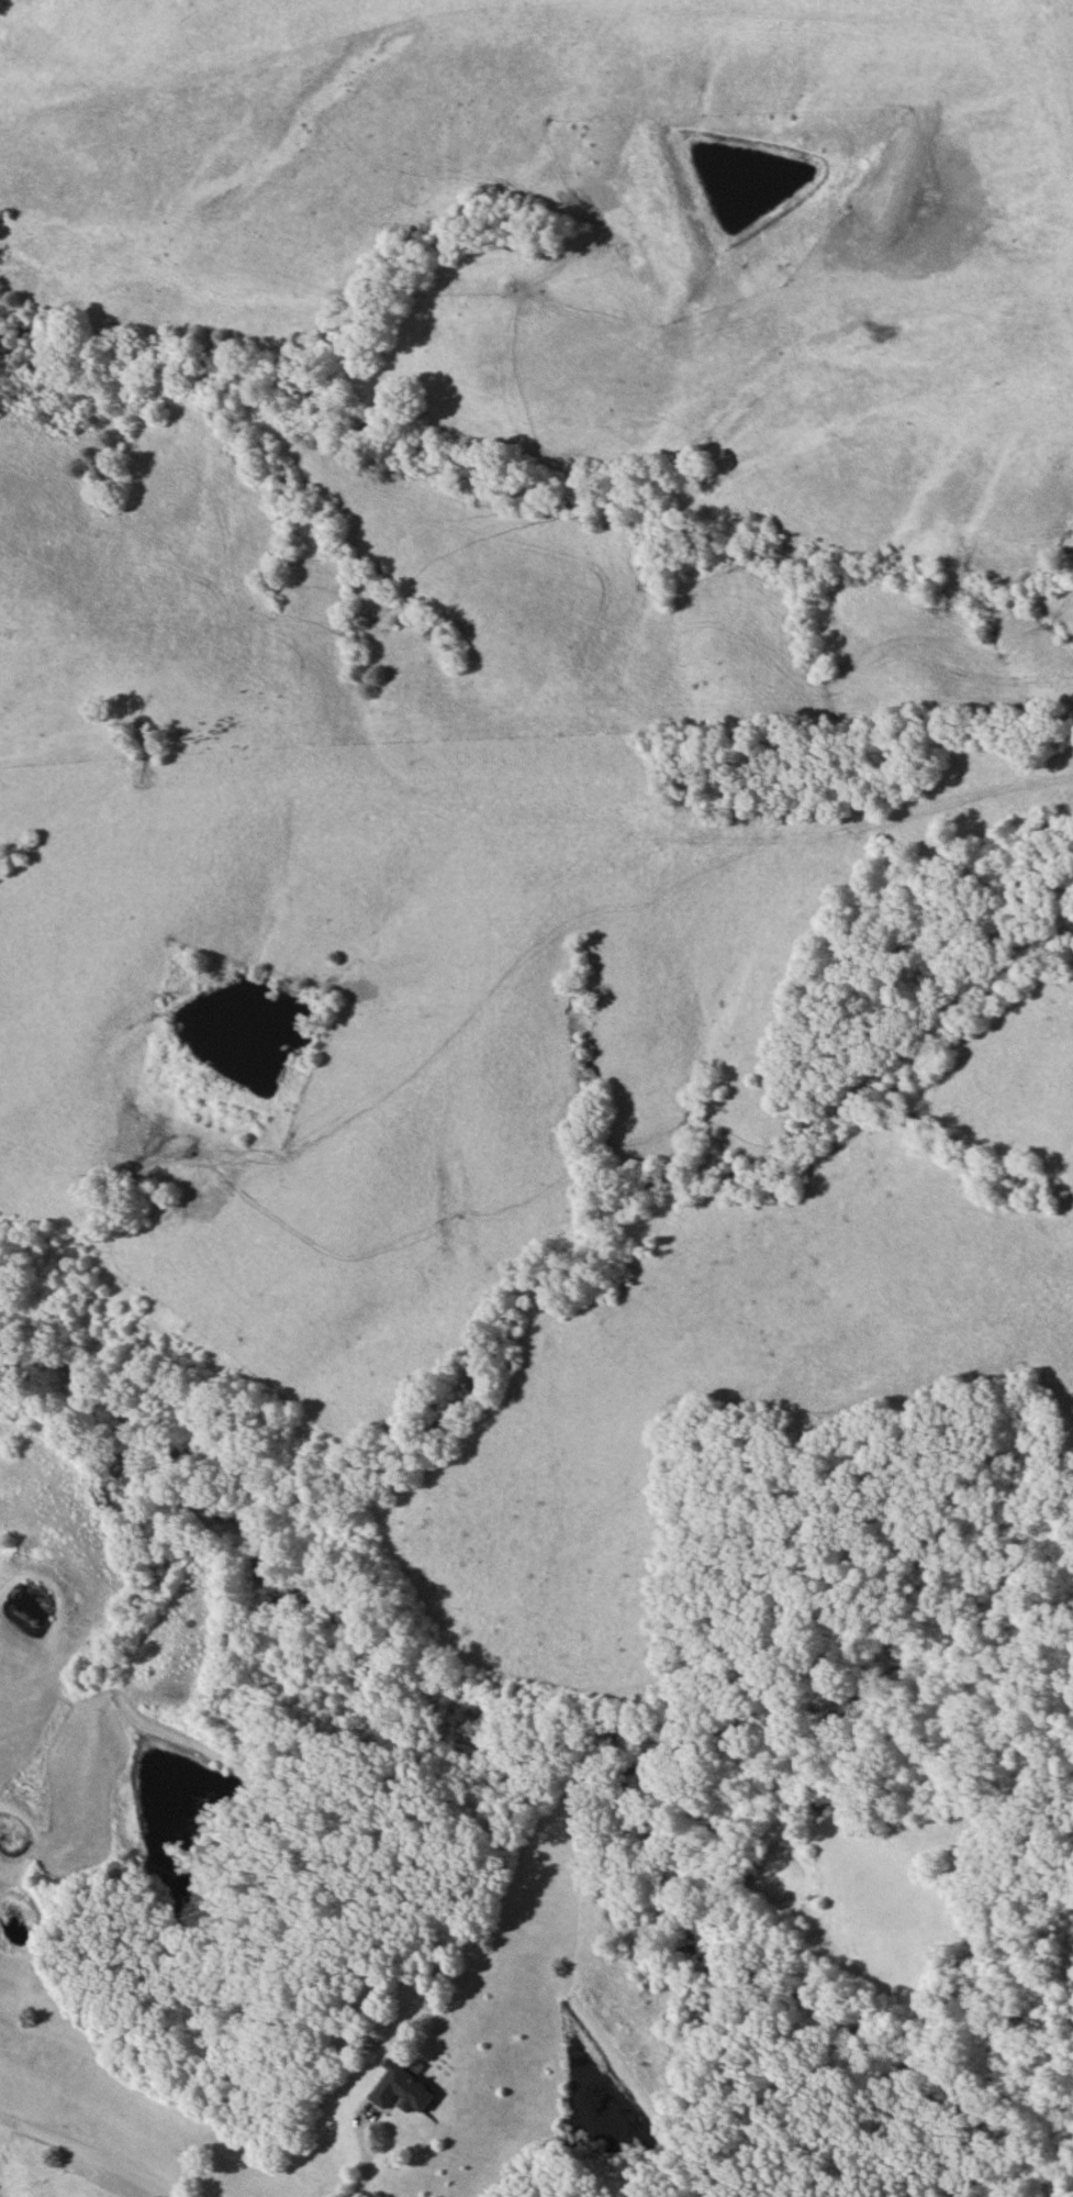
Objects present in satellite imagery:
building: (401, 2089)
road: (87, 2153)

